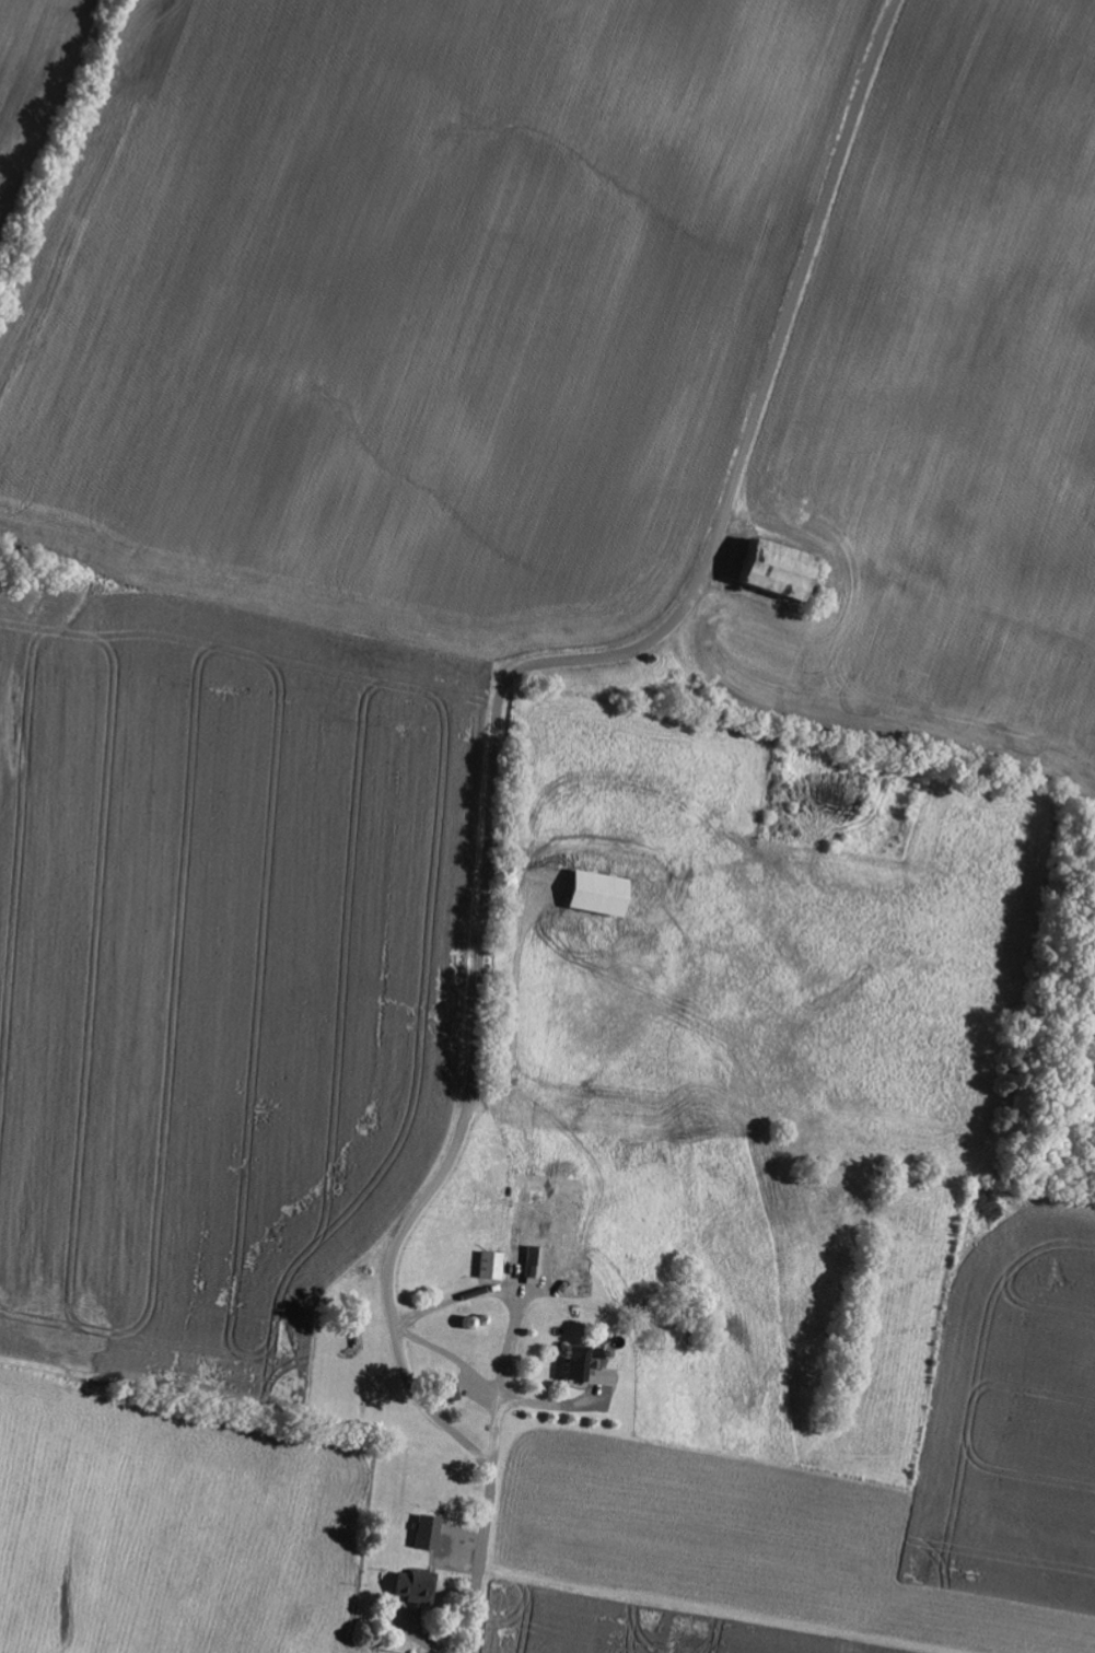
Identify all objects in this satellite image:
building: (772, 568)
road: (494, 772)
building: (596, 892)
road: (514, 999)
building: (488, 1265)
road: (511, 1320)
building: (570, 1363)
building: (444, 1388)
building: (424, 1532)
building: (412, 1585)

